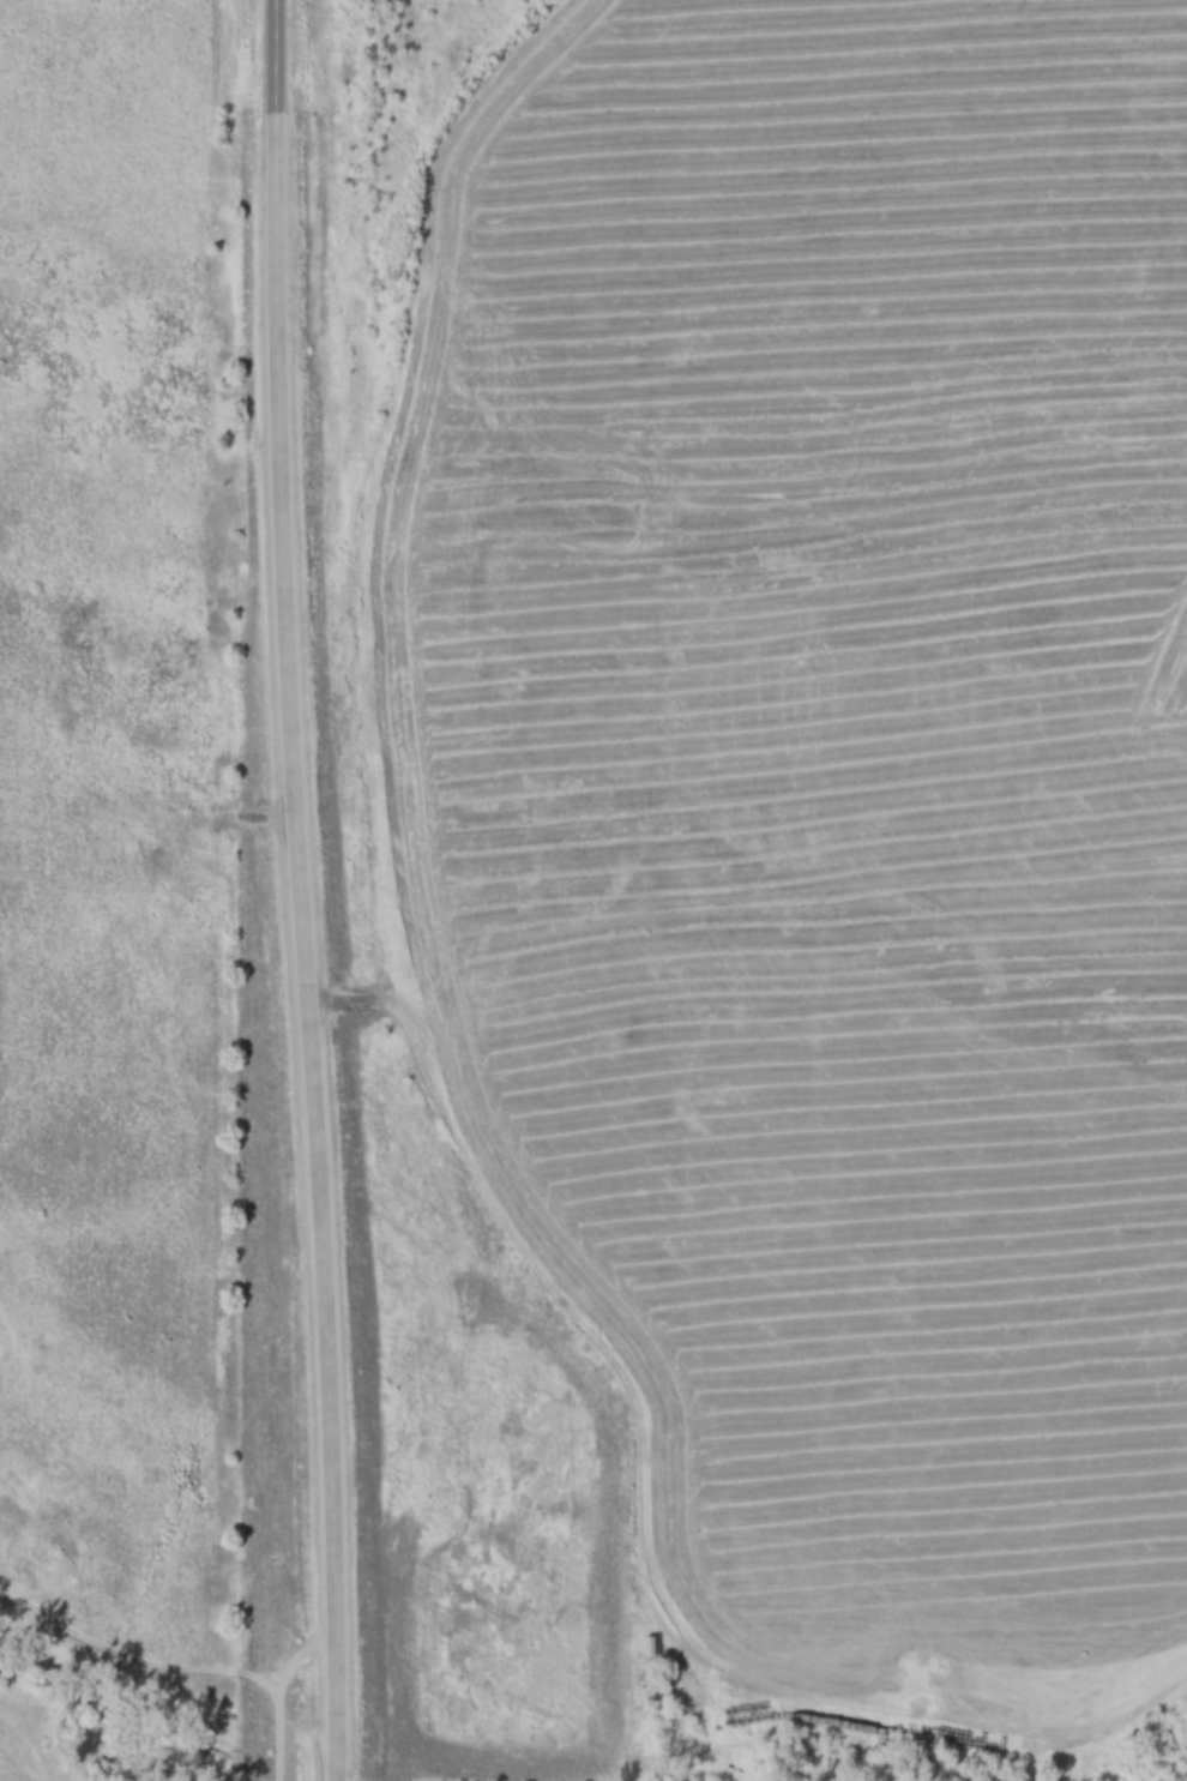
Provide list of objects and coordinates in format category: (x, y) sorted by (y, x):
road: (294, 890)

